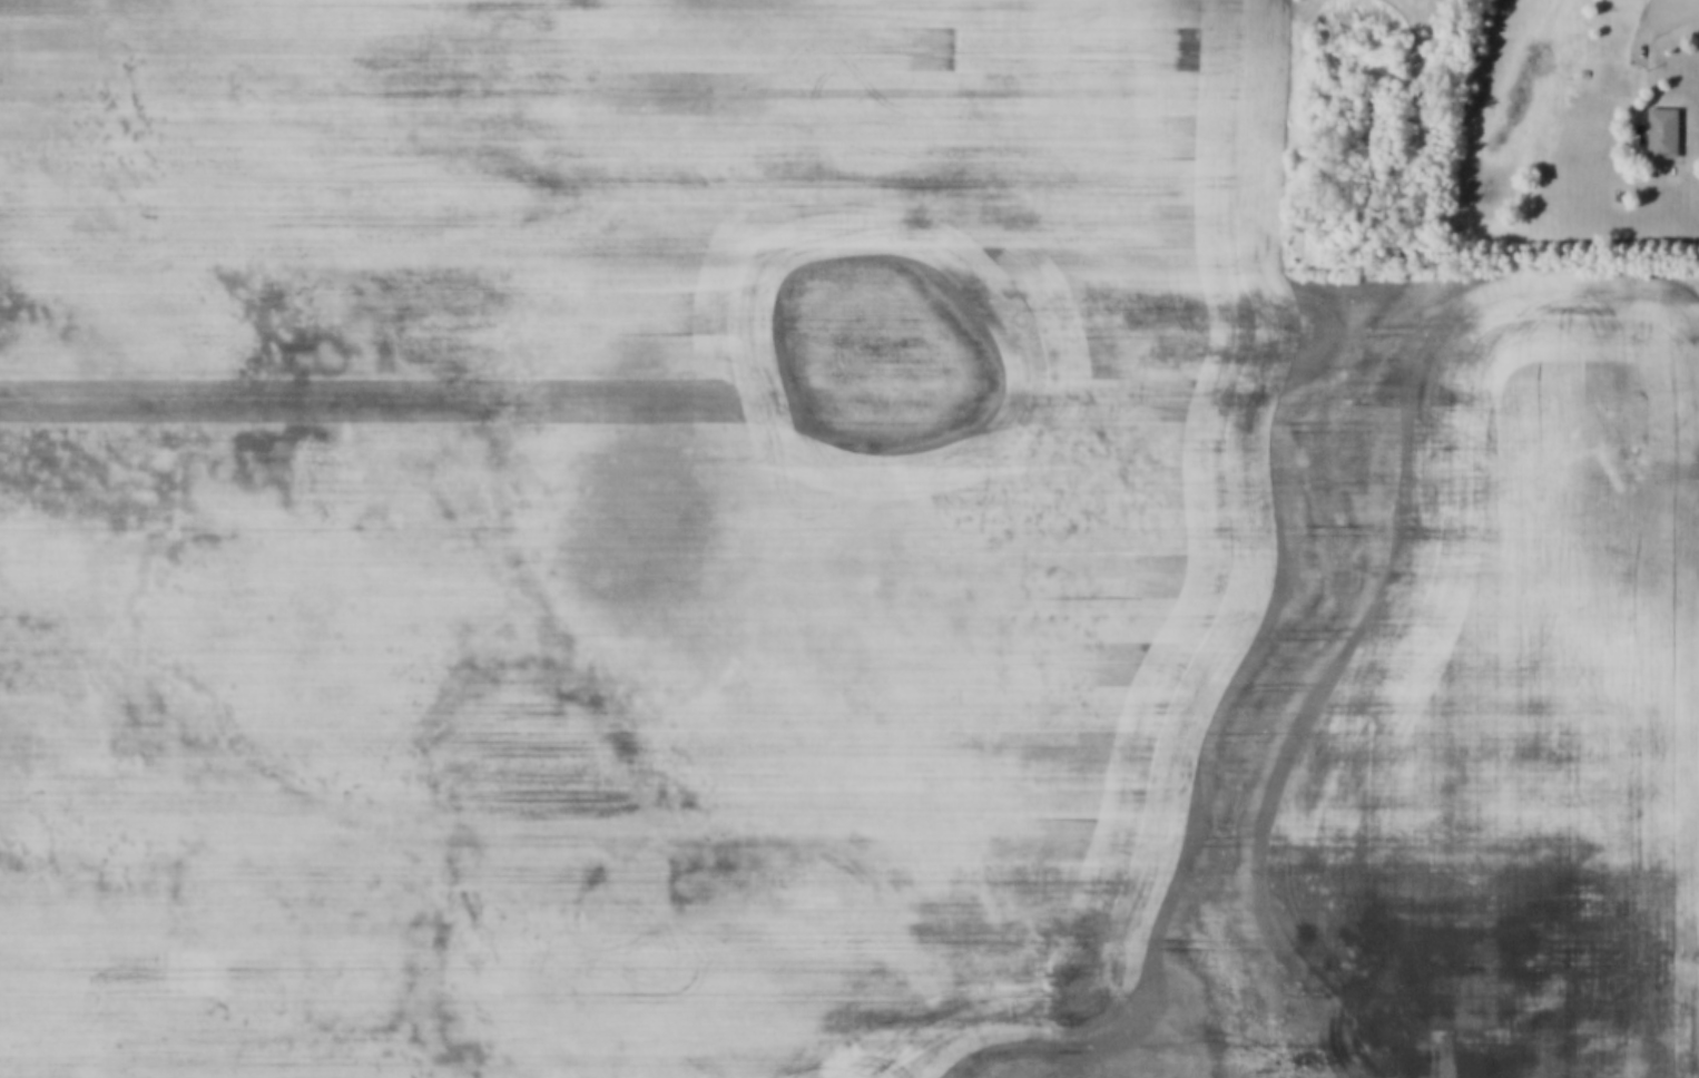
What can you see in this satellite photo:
road: (1642, 28)
building: (1664, 136)

